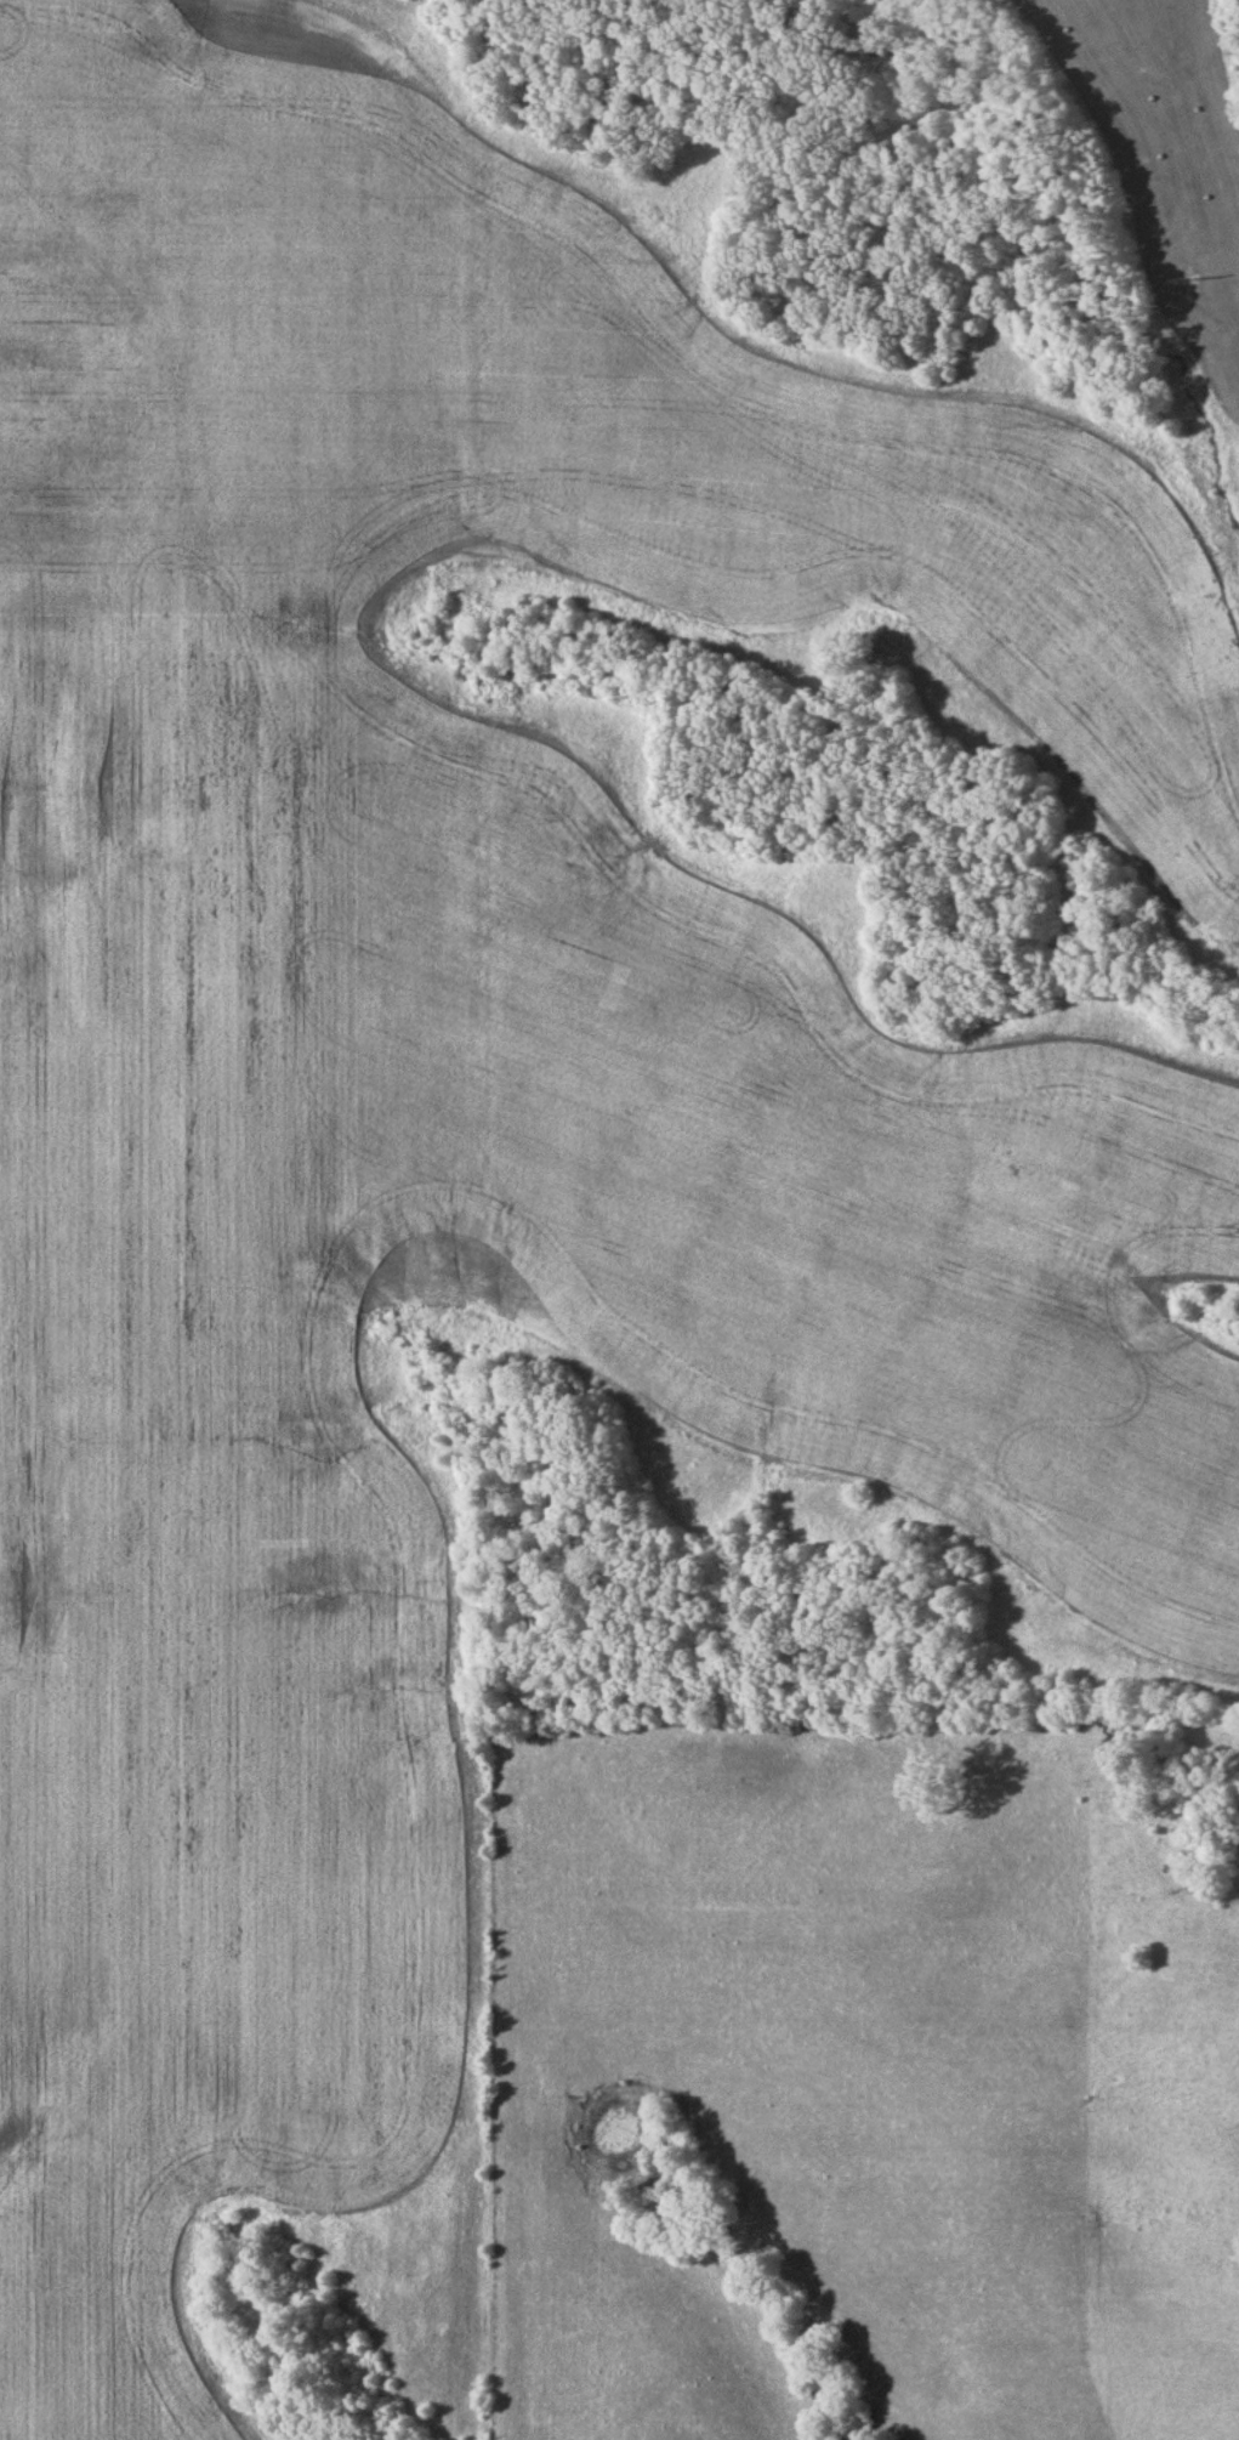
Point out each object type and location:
power tower: (1187, 278)

